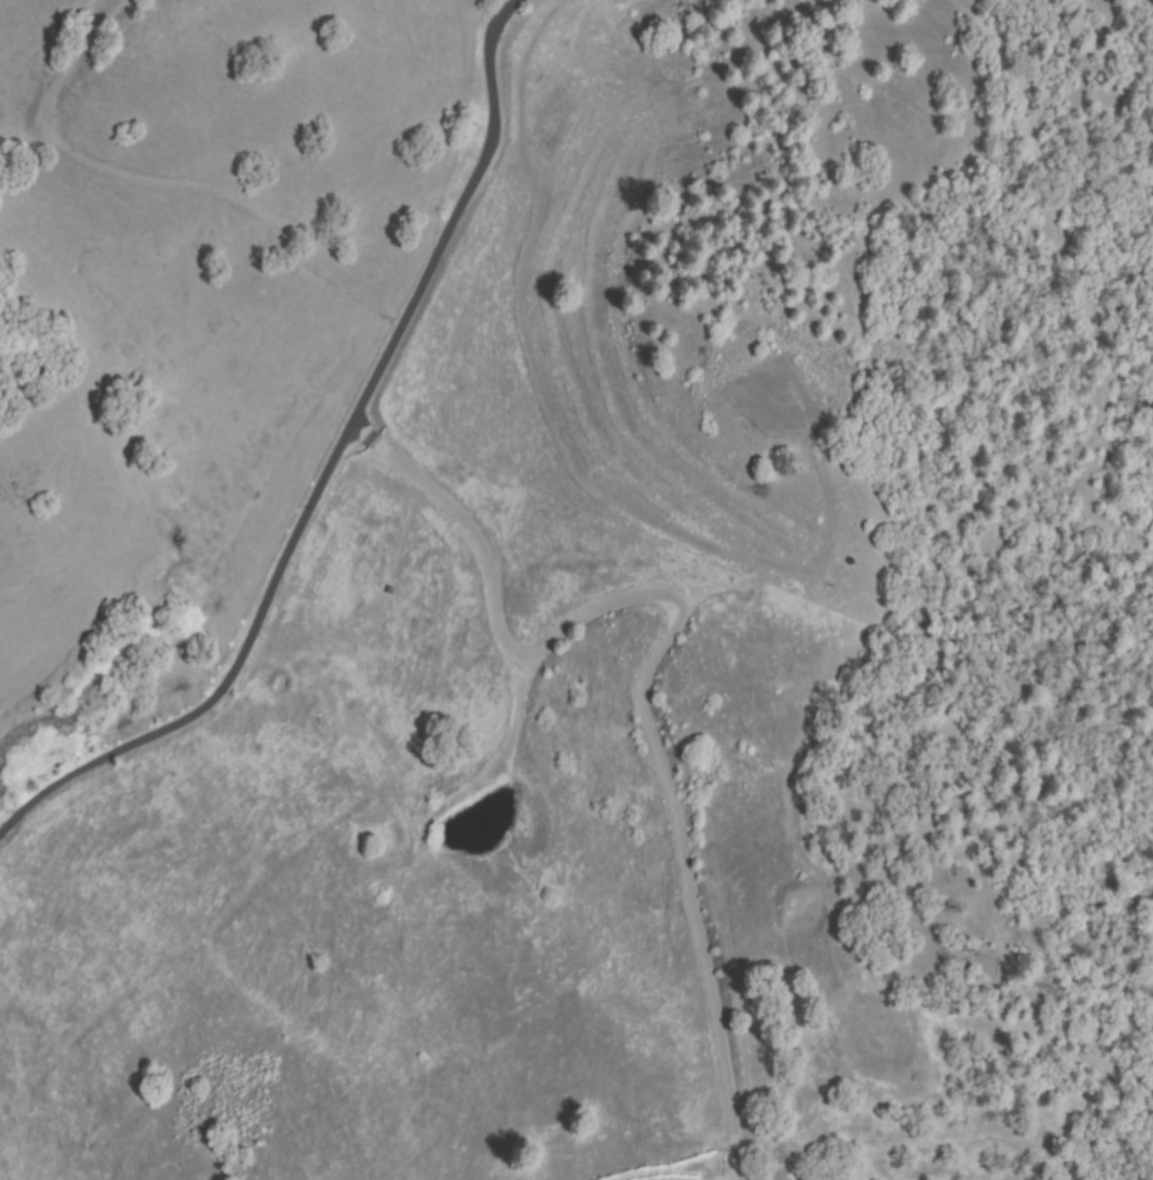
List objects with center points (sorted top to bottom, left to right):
building: (767, 375)
road: (331, 468)

